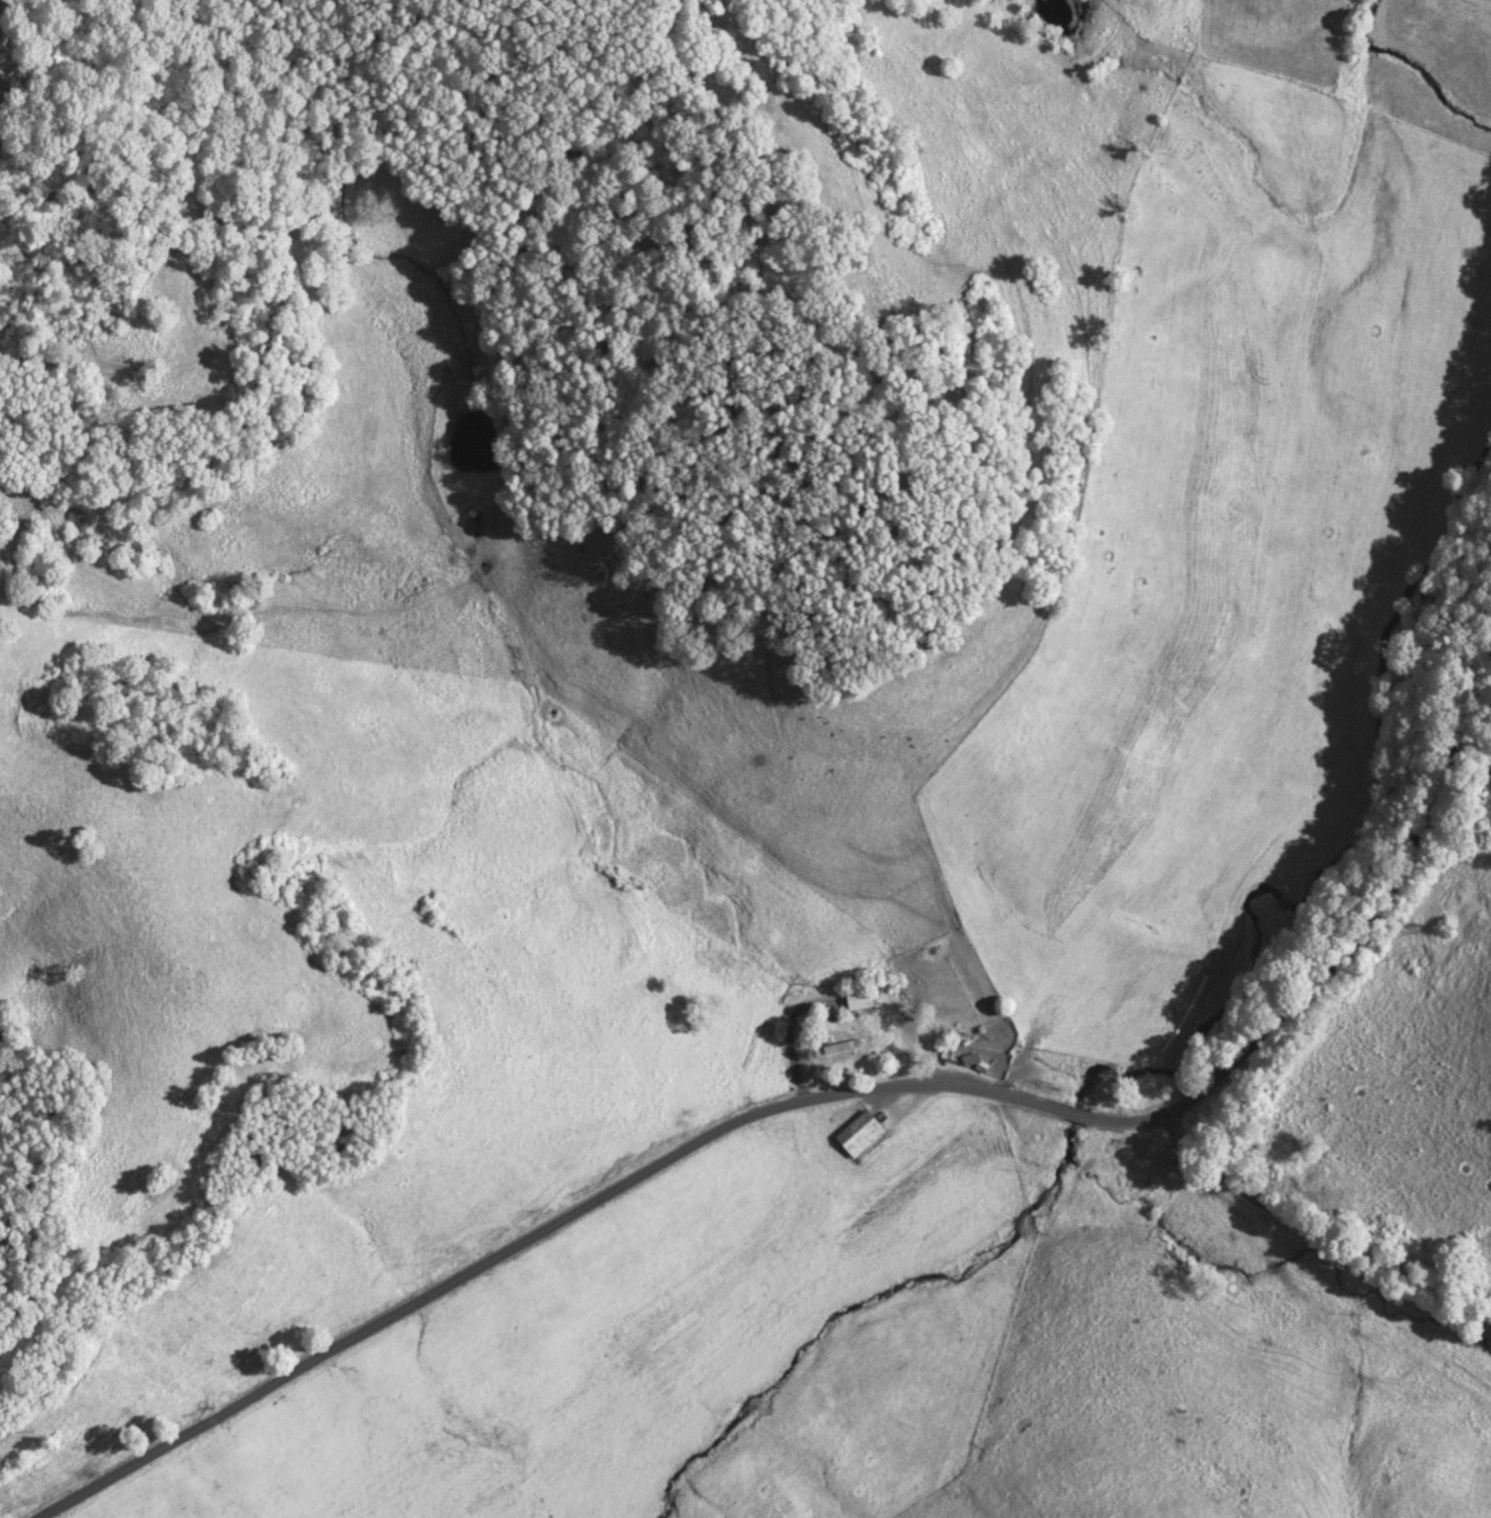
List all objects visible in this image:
road: (1353, 960)
building: (859, 998)
building: (840, 1039)
building: (978, 1063)
road: (1077, 1111)
road: (1131, 1117)
building: (859, 1133)
road: (1214, 1154)
road: (542, 1234)
road: (1373, 1254)

